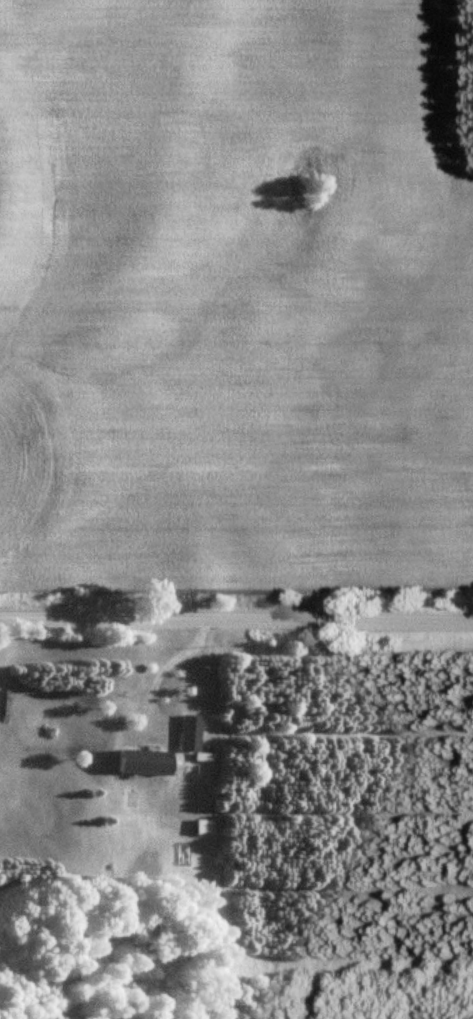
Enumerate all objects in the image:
road: (236, 616)
building: (186, 732)
building: (138, 761)
building: (203, 826)

